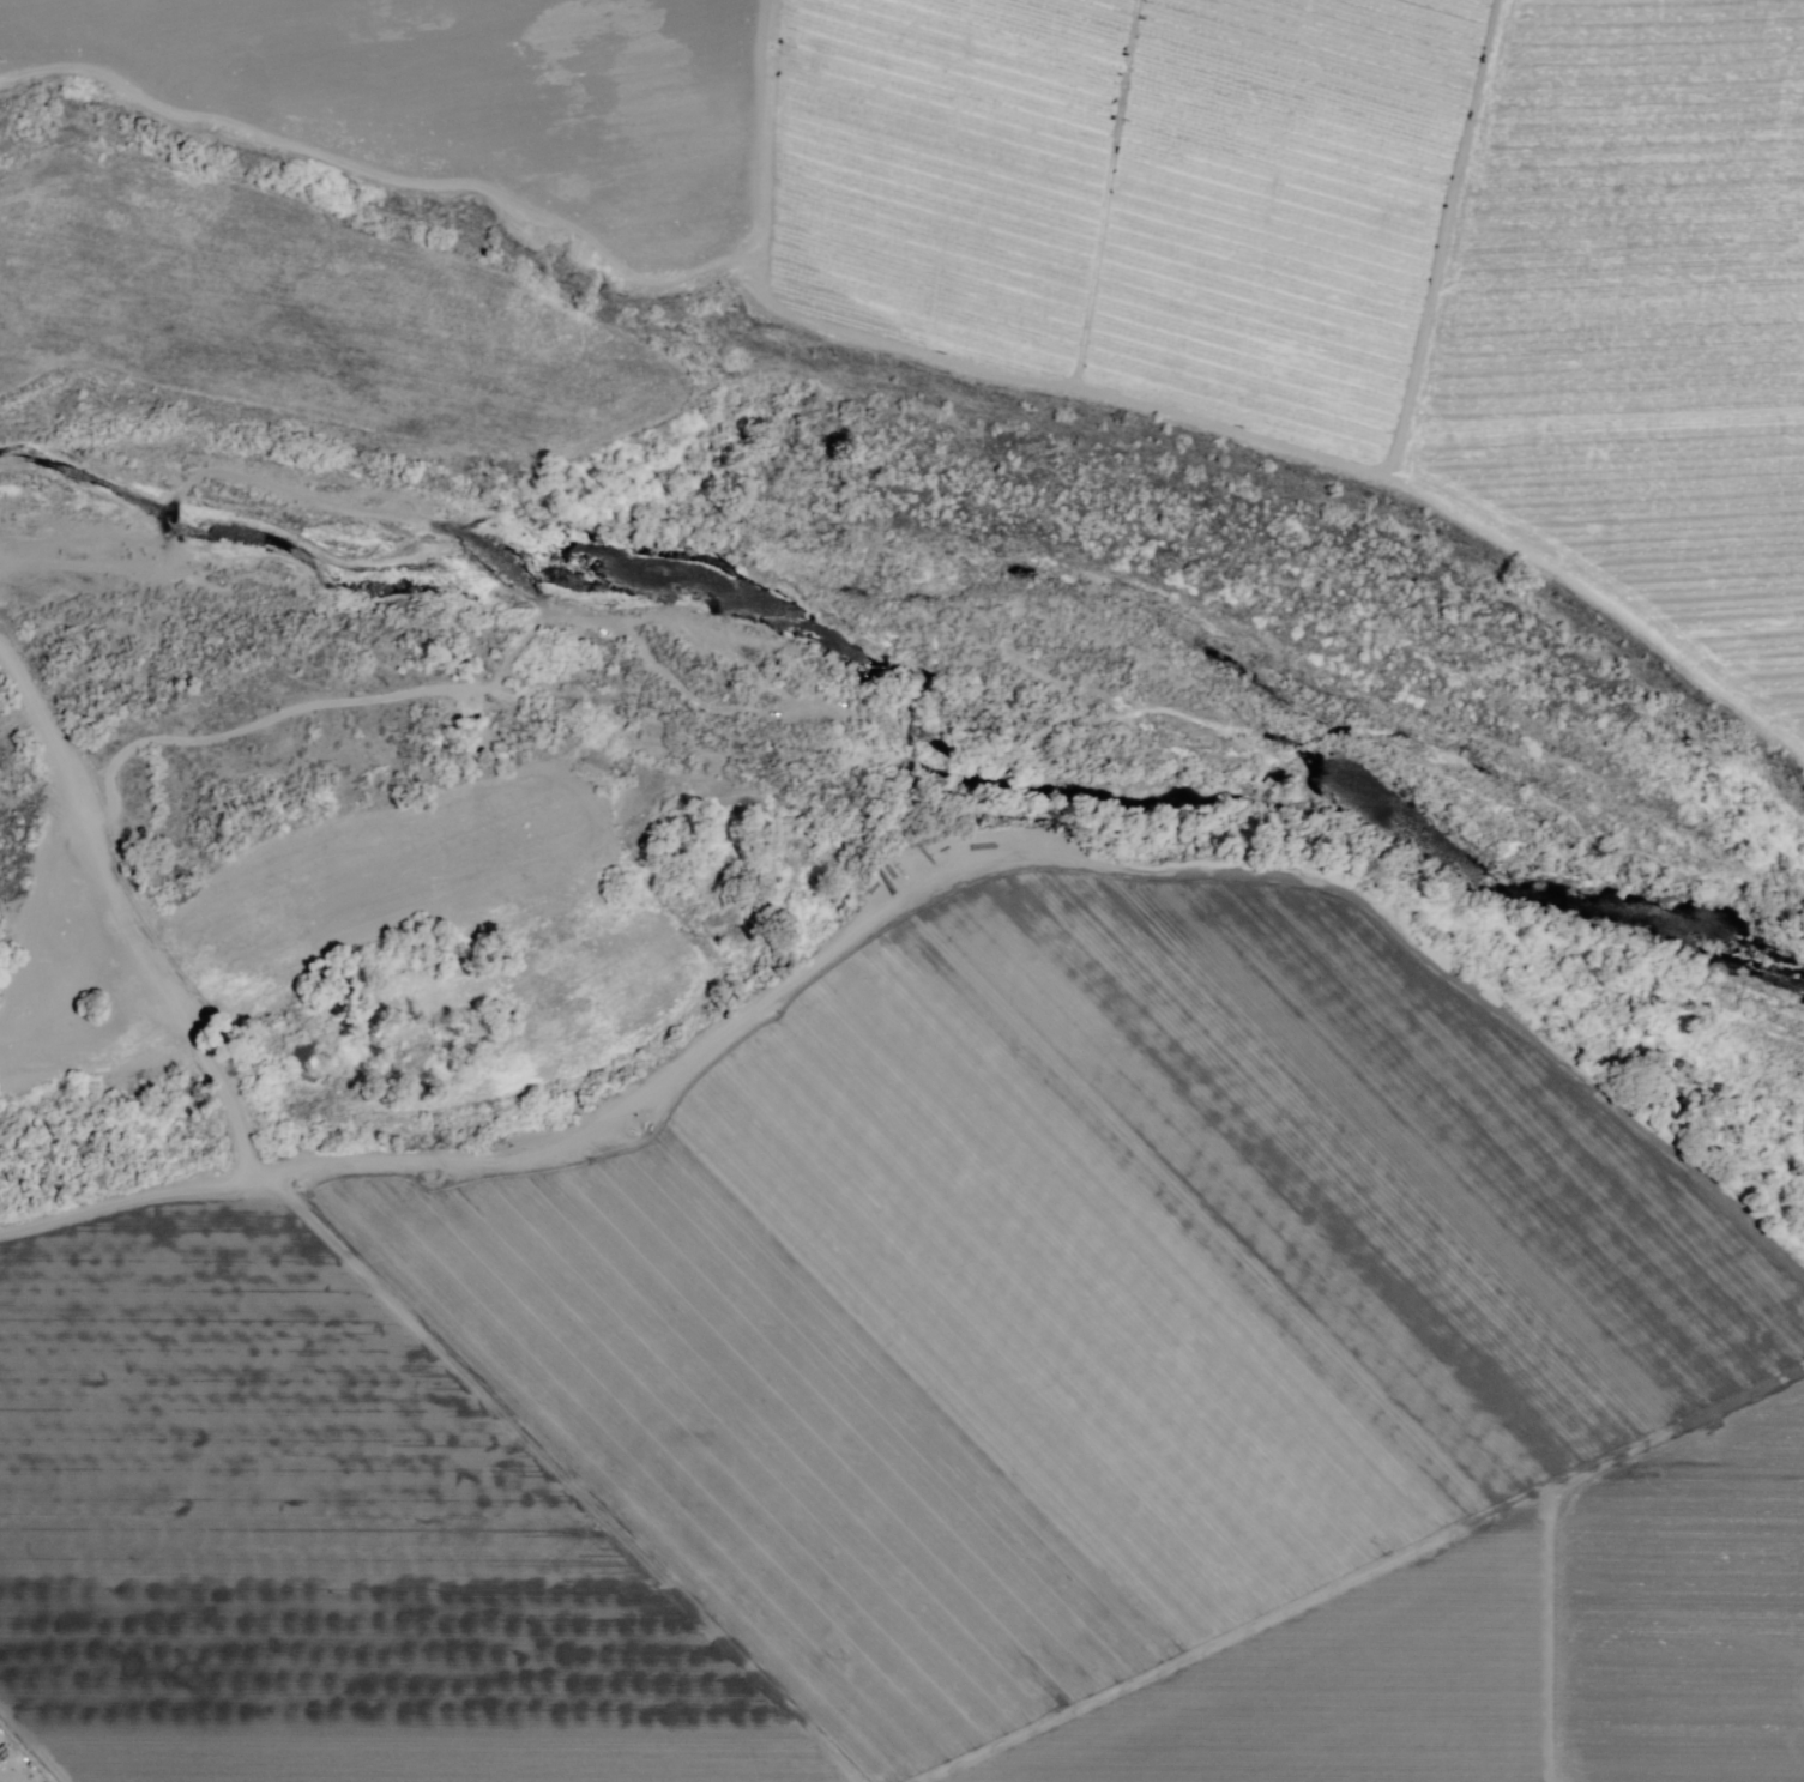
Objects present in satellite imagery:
crop: (973, 229)
river: (906, 699)
crop: (942, 1394)

